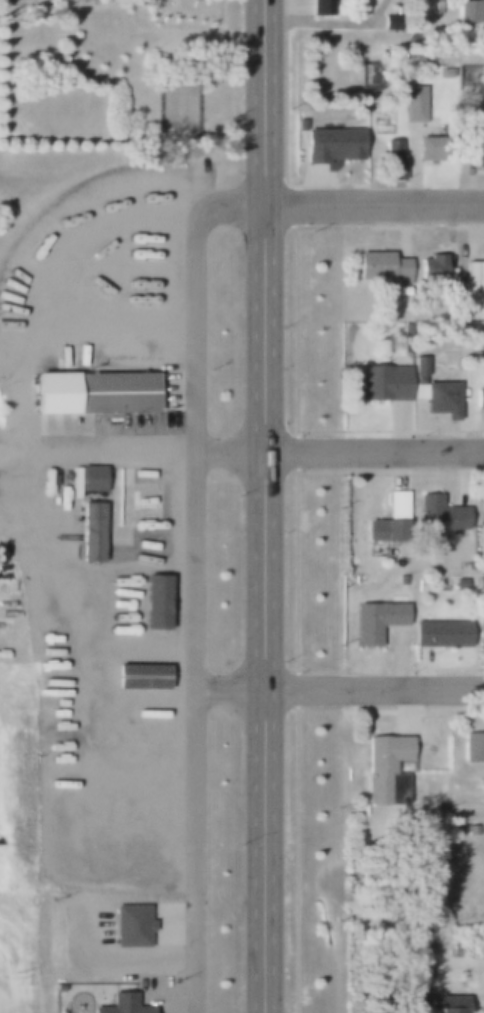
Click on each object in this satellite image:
parking lot: (24, 2)
building: (320, 7)
building: (437, 7)
building: (469, 13)
building: (389, 21)
road: (479, 52)
park: (114, 71)
building: (446, 74)
park: (176, 103)
building: (413, 112)
building: (332, 145)
building: (428, 149)
building: (474, 149)
building: (392, 160)
road: (264, 196)
road: (374, 204)
building: (380, 267)
building: (433, 270)
building: (474, 275)
building: (403, 291)
building: (405, 330)
building: (385, 382)
building: (434, 390)
building: (93, 393)
building: (480, 397)
road: (260, 449)
building: (91, 474)
building: (144, 496)
building: (480, 506)
building: (441, 515)
building: (92, 527)
building: (387, 532)
building: (143, 540)
building: (135, 571)
road: (194, 580)
building: (401, 580)
building: (480, 583)
building: (459, 584)
building: (153, 596)
building: (137, 599)
building: (375, 622)
building: (441, 633)
building: (480, 633)
building: (136, 635)
building: (134, 654)
building: (139, 676)
road: (374, 689)
building: (136, 691)
road: (263, 702)
building: (127, 728)
building: (471, 748)
building: (385, 770)
building: (472, 830)
building: (129, 926)
building: (410, 998)
building: (446, 1004)
building: (122, 1005)

